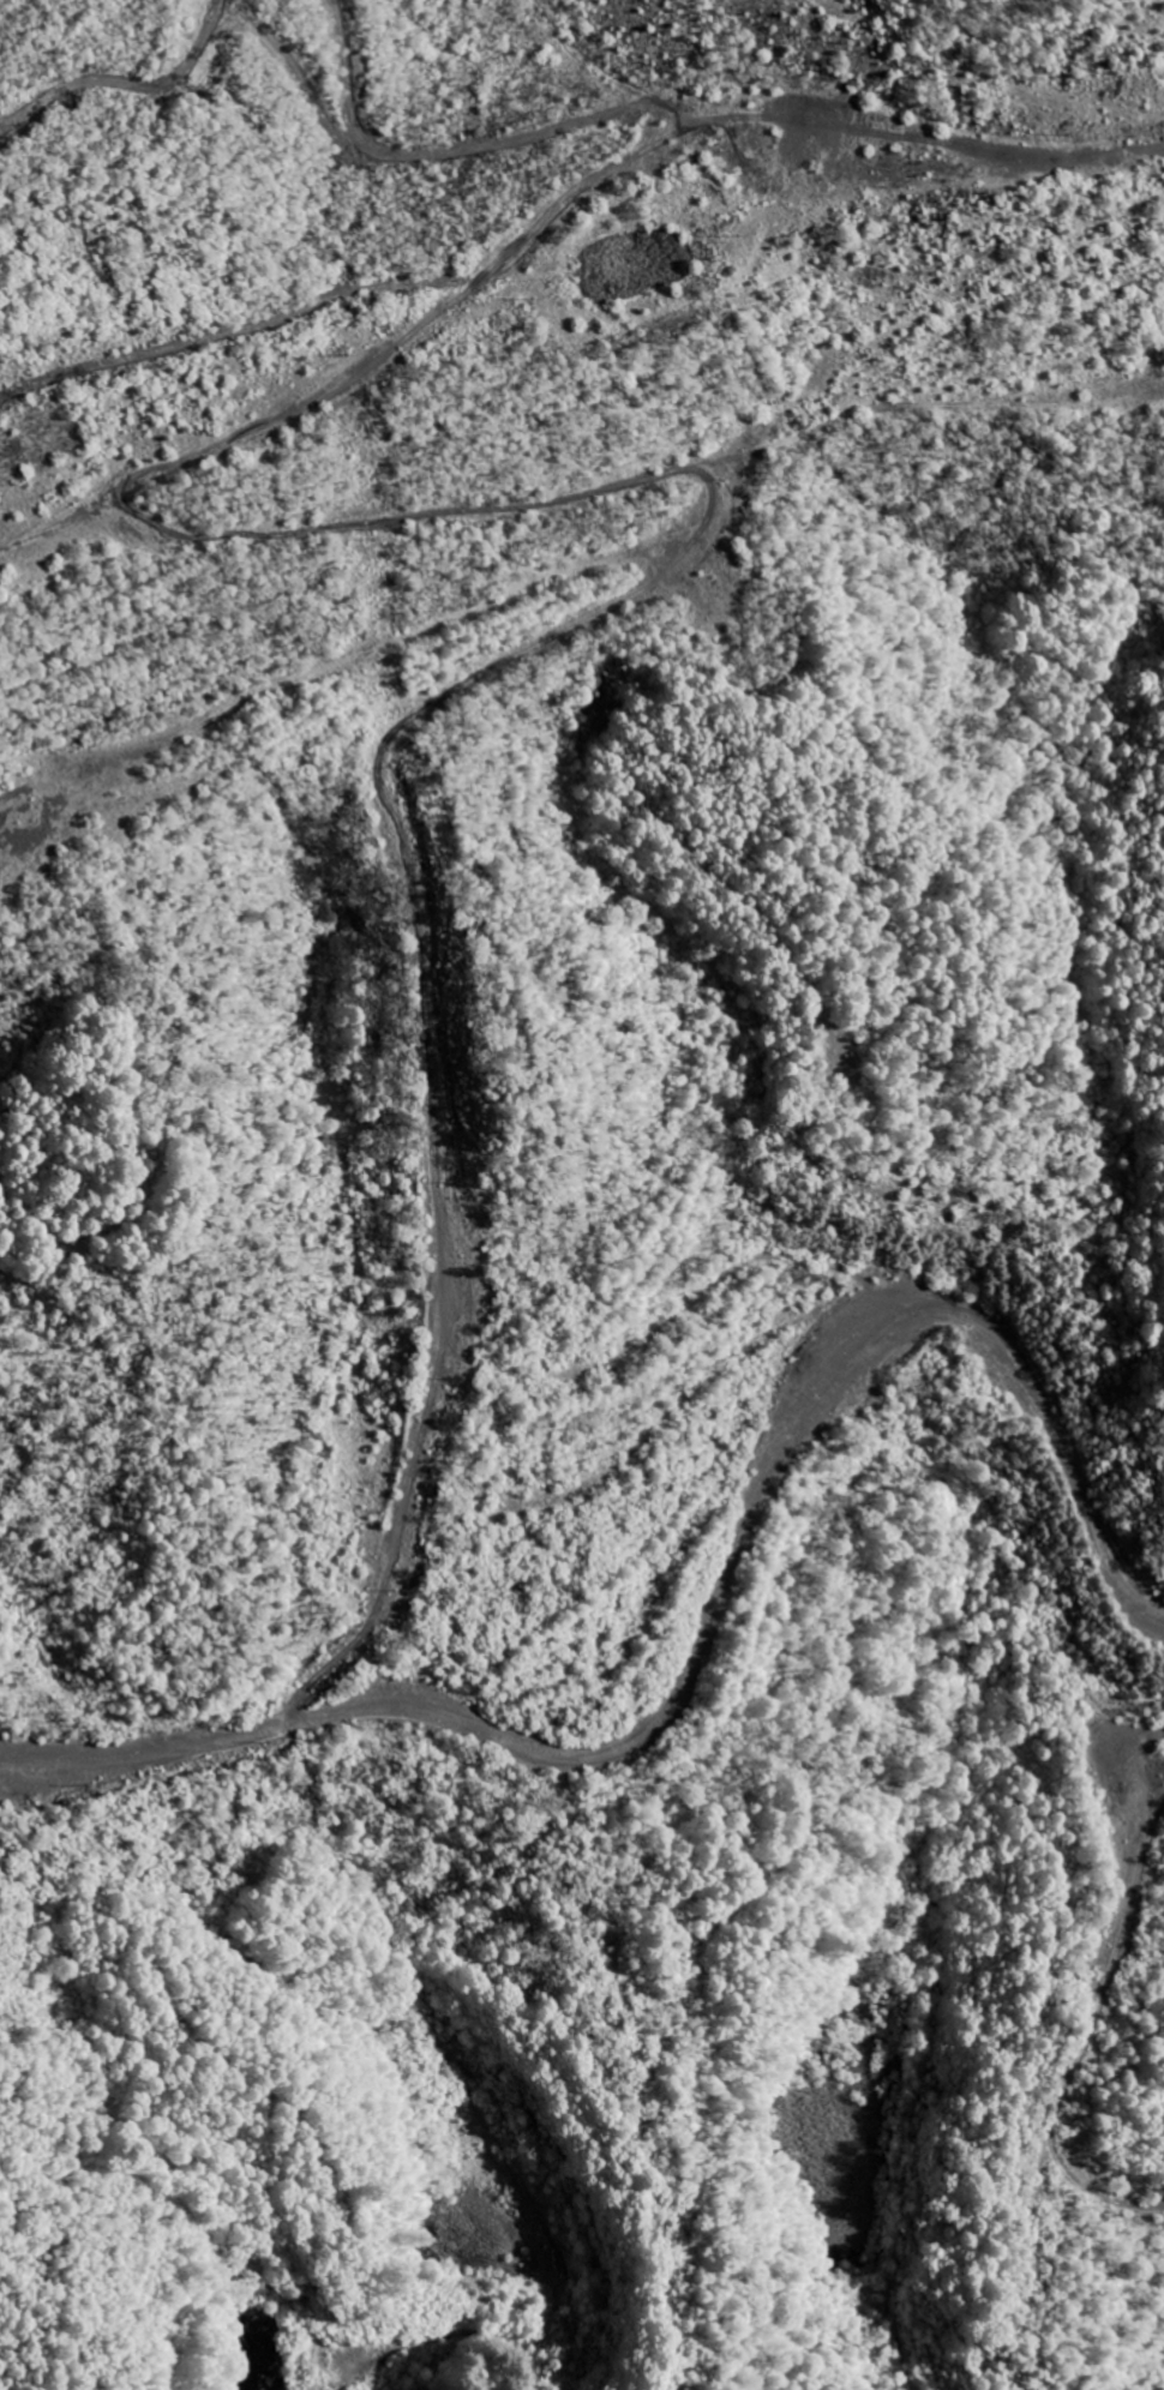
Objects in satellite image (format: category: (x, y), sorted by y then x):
building: (709, 577)
road: (719, 1608)

